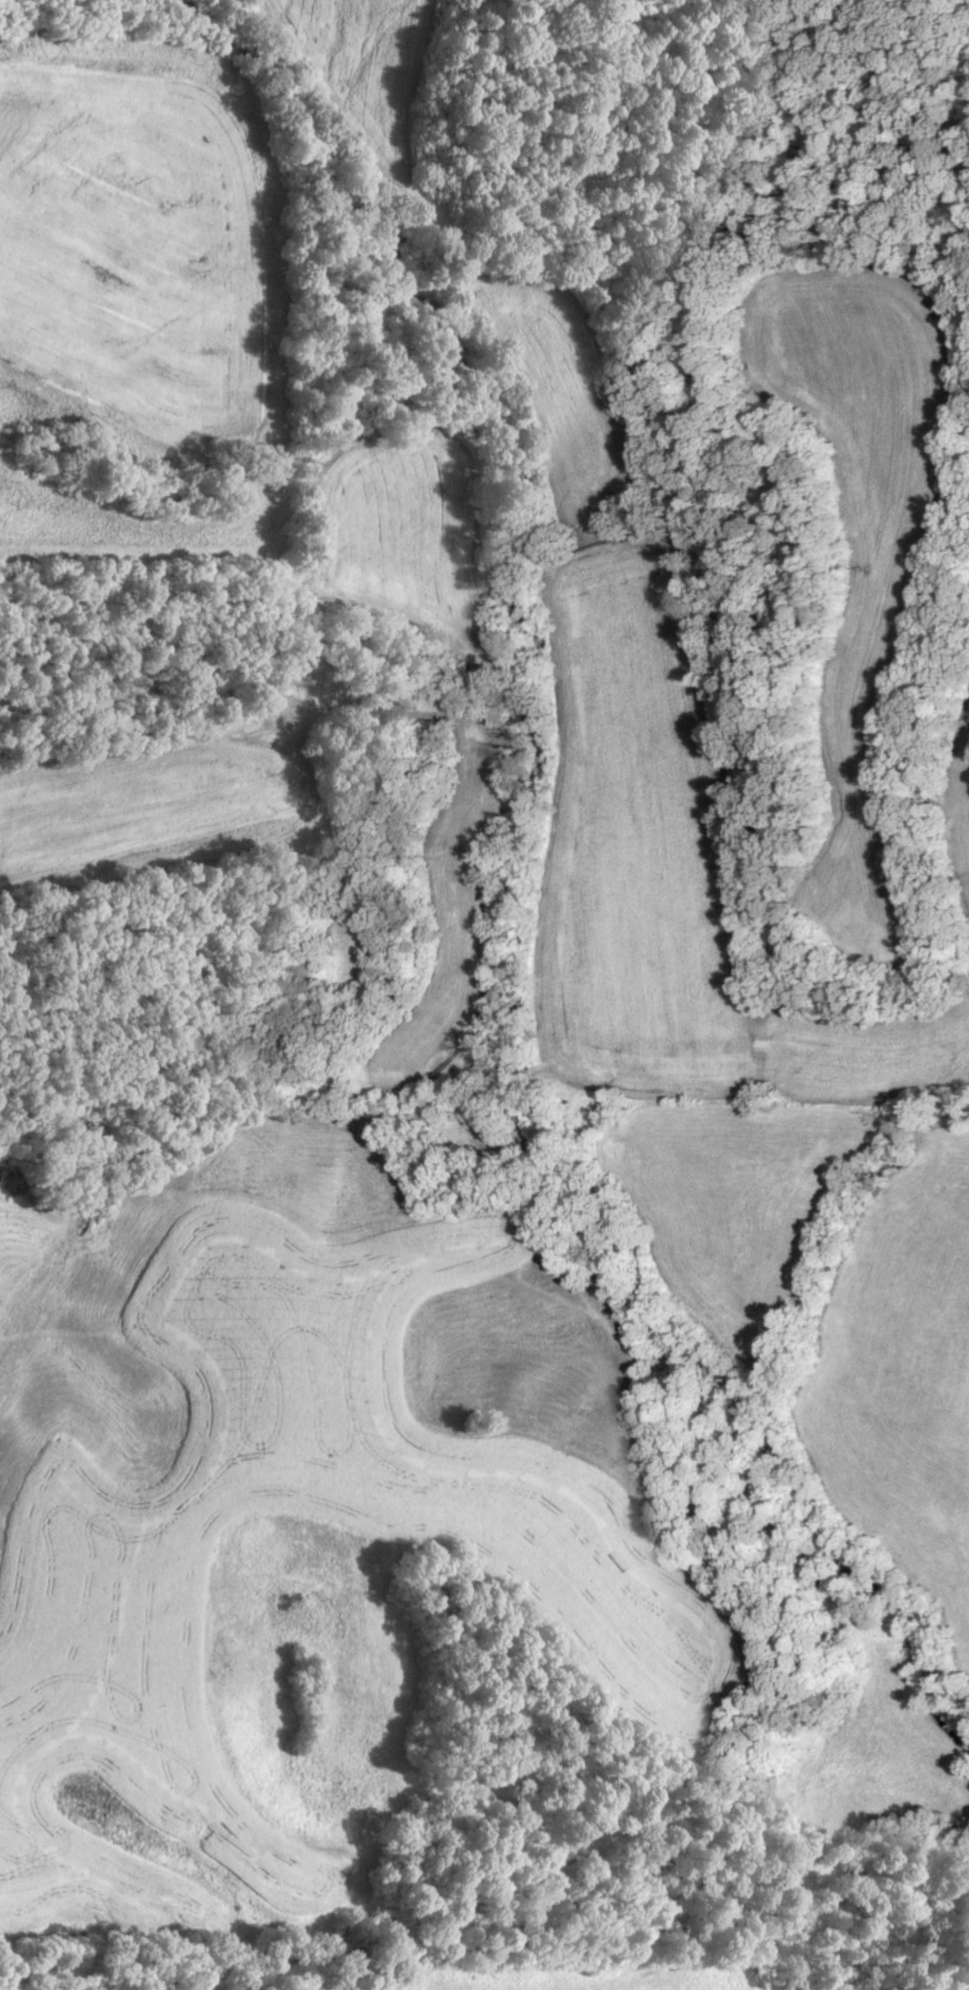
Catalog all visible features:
road: (202, 855)
building: (312, 970)
road: (379, 1612)

